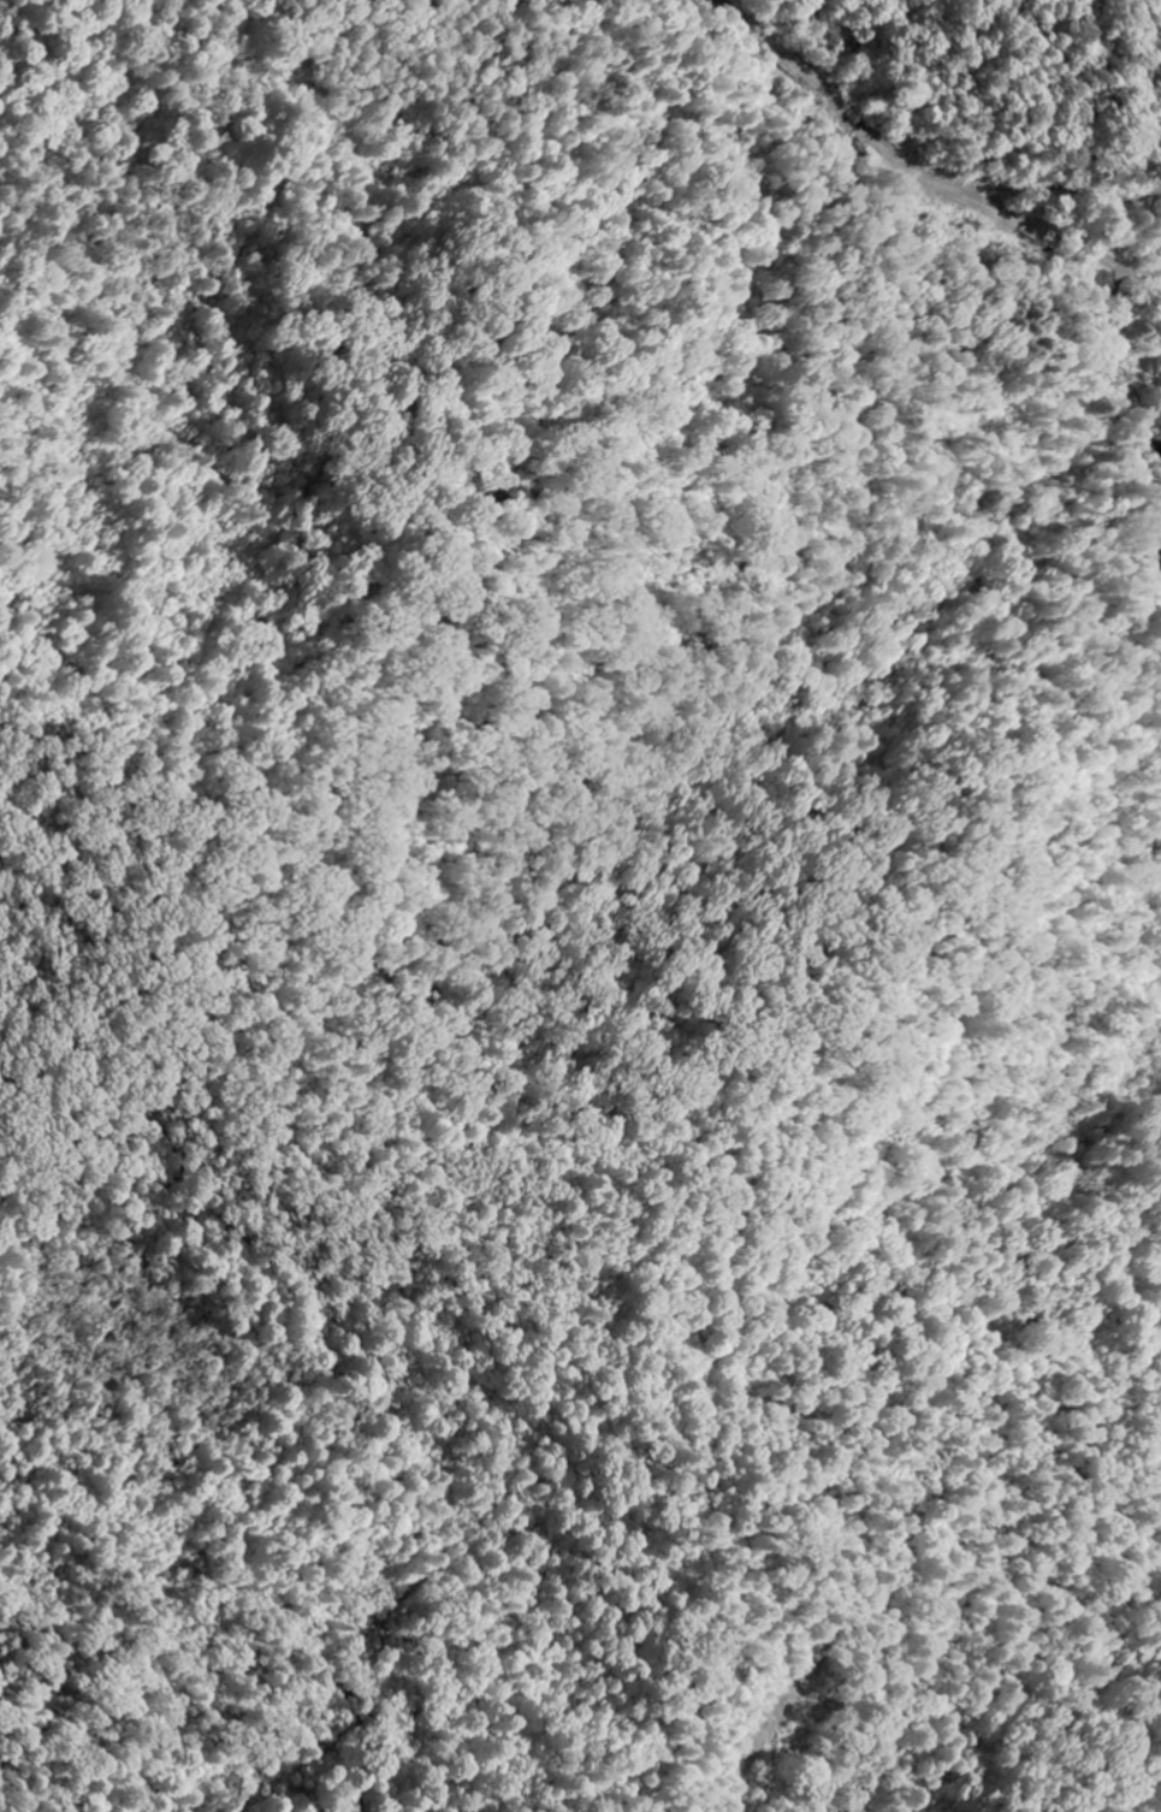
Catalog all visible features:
road: (929, 140)

